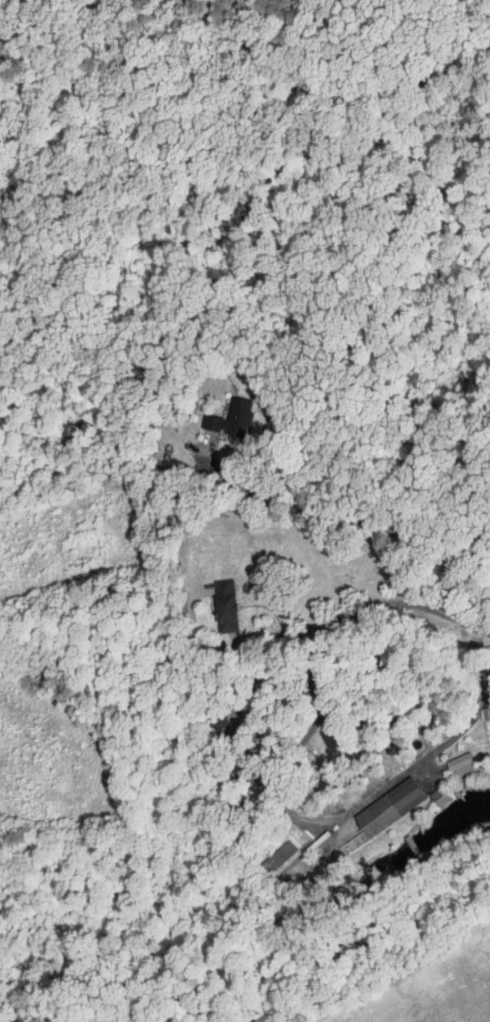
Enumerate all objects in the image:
building: (232, 416)
road: (376, 526)
road: (465, 545)
building: (229, 604)
road: (297, 632)
road: (316, 724)
building: (338, 735)
road: (252, 748)
building: (463, 766)
road: (391, 786)
building: (393, 805)

